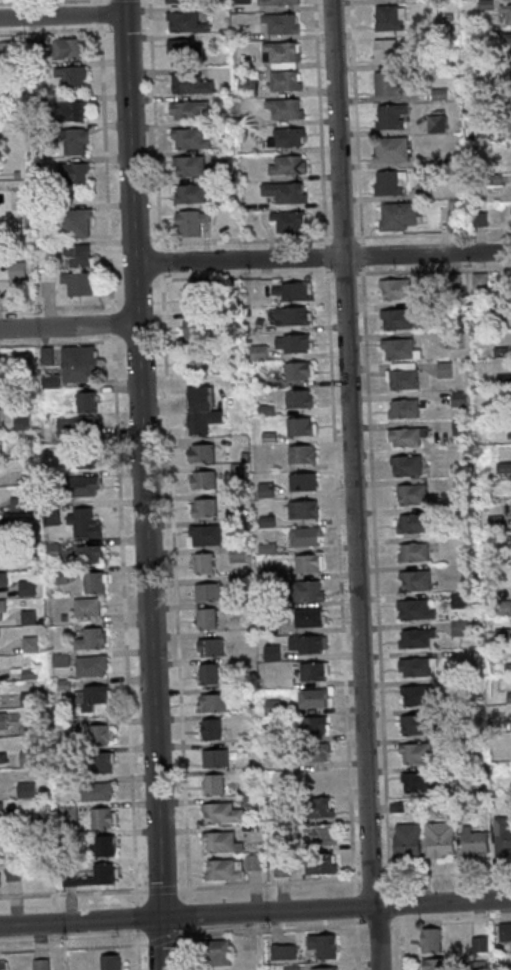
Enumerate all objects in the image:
park: (1, 0)
road: (100, 1)
building: (183, 1)
building: (242, 1)
building: (278, 2)
building: (506, 11)
road: (100, 12)
road: (62, 16)
building: (186, 18)
building: (390, 19)
building: (282, 23)
building: (69, 48)
building: (184, 50)
building: (385, 50)
building: (508, 52)
building: (281, 54)
building: (71, 77)
building: (286, 80)
building: (191, 83)
building: (387, 83)
building: (250, 87)
building: (286, 107)
building: (189, 110)
building: (72, 111)
building: (392, 116)
building: (437, 122)
building: (288, 137)
building: (190, 138)
building: (76, 141)
building: (391, 149)
building: (287, 164)
building: (191, 165)
building: (73, 172)
building: (390, 183)
building: (426, 188)
building: (286, 191)
building: (191, 192)
building: (453, 215)
building: (398, 216)
building: (289, 220)
building: (191, 221)
building: (76, 222)
building: (77, 255)
road: (322, 257)
building: (17, 269)
building: (480, 278)
building: (78, 282)
building: (396, 288)
building: (291, 291)
building: (196, 297)
building: (293, 315)
building: (396, 318)
road: (68, 326)
building: (196, 330)
building: (294, 342)
building: (398, 348)
building: (195, 361)
building: (80, 363)
building: (445, 369)
building: (299, 370)
building: (403, 375)
building: (300, 398)
building: (460, 398)
building: (87, 401)
building: (404, 408)
building: (201, 410)
building: (23, 421)
building: (82, 424)
building: (301, 426)
building: (461, 427)
building: (407, 436)
road: (169, 451)
building: (202, 452)
building: (302, 453)
building: (88, 458)
building: (406, 465)
building: (504, 467)
building: (203, 479)
building: (303, 481)
building: (84, 485)
road: (143, 485)
road: (352, 485)
building: (264, 490)
building: (413, 493)
road: (120, 495)
building: (18, 503)
building: (204, 507)
building: (303, 509)
building: (85, 522)
building: (412, 523)
building: (206, 534)
building: (305, 536)
building: (413, 551)
building: (88, 554)
building: (238, 554)
building: (204, 562)
building: (309, 563)
building: (3, 578)
building: (415, 580)
building: (95, 581)
building: (27, 587)
building: (309, 590)
building: (207, 591)
building: (504, 607)
building: (87, 608)
building: (415, 609)
building: (2, 610)
building: (206, 617)
building: (310, 617)
building: (461, 628)
building: (417, 637)
building: (92, 639)
building: (308, 644)
building: (210, 646)
building: (272, 652)
building: (92, 665)
building: (416, 666)
building: (314, 671)
building: (207, 673)
building: (91, 695)
building: (416, 695)
building: (313, 698)
building: (212, 702)
building: (273, 705)
building: (3, 720)
building: (417, 724)
building: (315, 725)
building: (29, 726)
building: (210, 728)
building: (100, 734)
building: (315, 752)
building: (415, 752)
building: (2, 757)
building: (27, 757)
building: (215, 757)
building: (103, 762)
building: (417, 781)
building: (213, 784)
building: (26, 789)
building: (97, 791)
building: (322, 806)
building: (1, 807)
building: (430, 807)
building: (221, 813)
building: (104, 817)
building: (324, 834)
building: (502, 835)
building: (441, 839)
building: (407, 840)
building: (221, 841)
building: (474, 841)
building: (105, 845)
building: (320, 863)
building: (224, 869)
building: (103, 874)
road: (267, 884)
road: (161, 888)
road: (73, 892)
road: (255, 912)
road: (186, 915)
road: (183, 931)
building: (505, 931)
road: (181, 935)
building: (432, 940)
building: (480, 941)
building: (324, 944)
road: (183, 952)
building: (220, 952)
building: (111, 962)
building: (435, 963)
building: (2, 964)
building: (41, 964)
building: (478, 965)
building: (325, 968)

